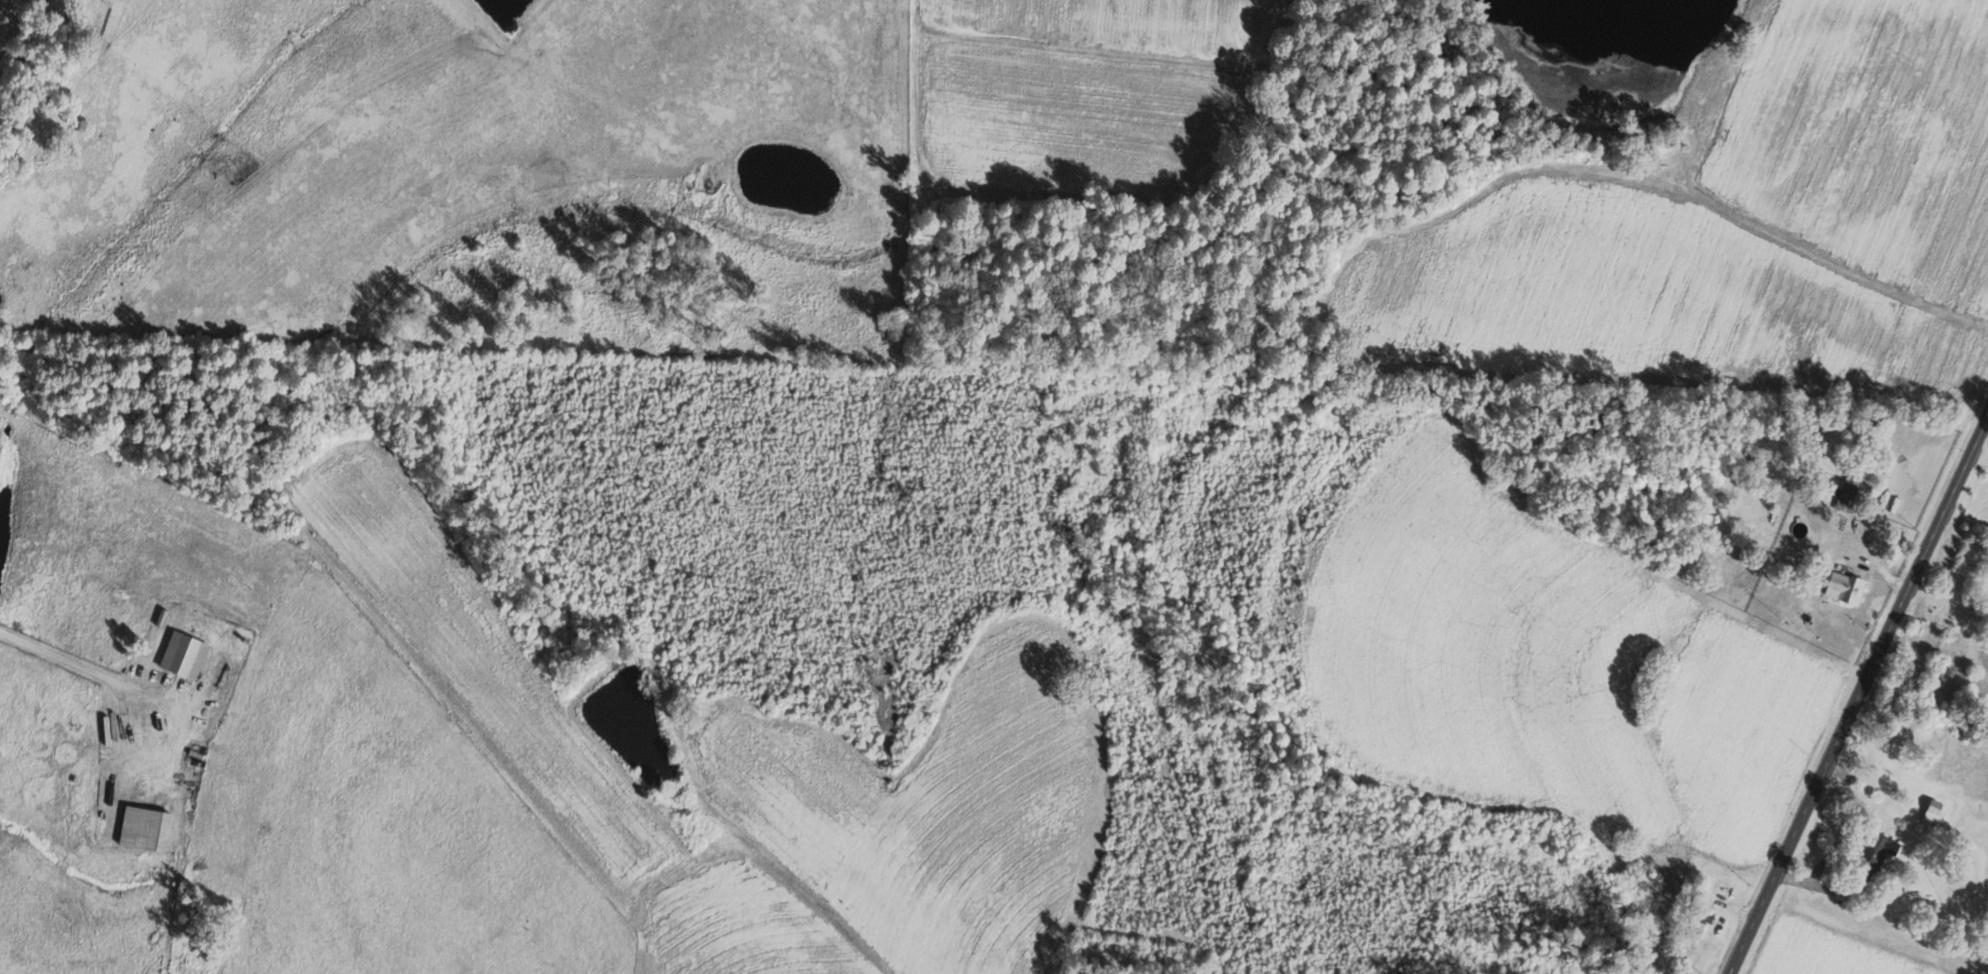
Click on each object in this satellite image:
building: (0, 10)
building: (1843, 500)
road: (1966, 515)
building: (1842, 587)
road: (1951, 589)
building: (189, 654)
road: (67, 661)
road: (1859, 695)
building: (1929, 812)
building: (151, 828)
road: (1836, 835)
building: (1870, 855)
building: (1700, 922)

